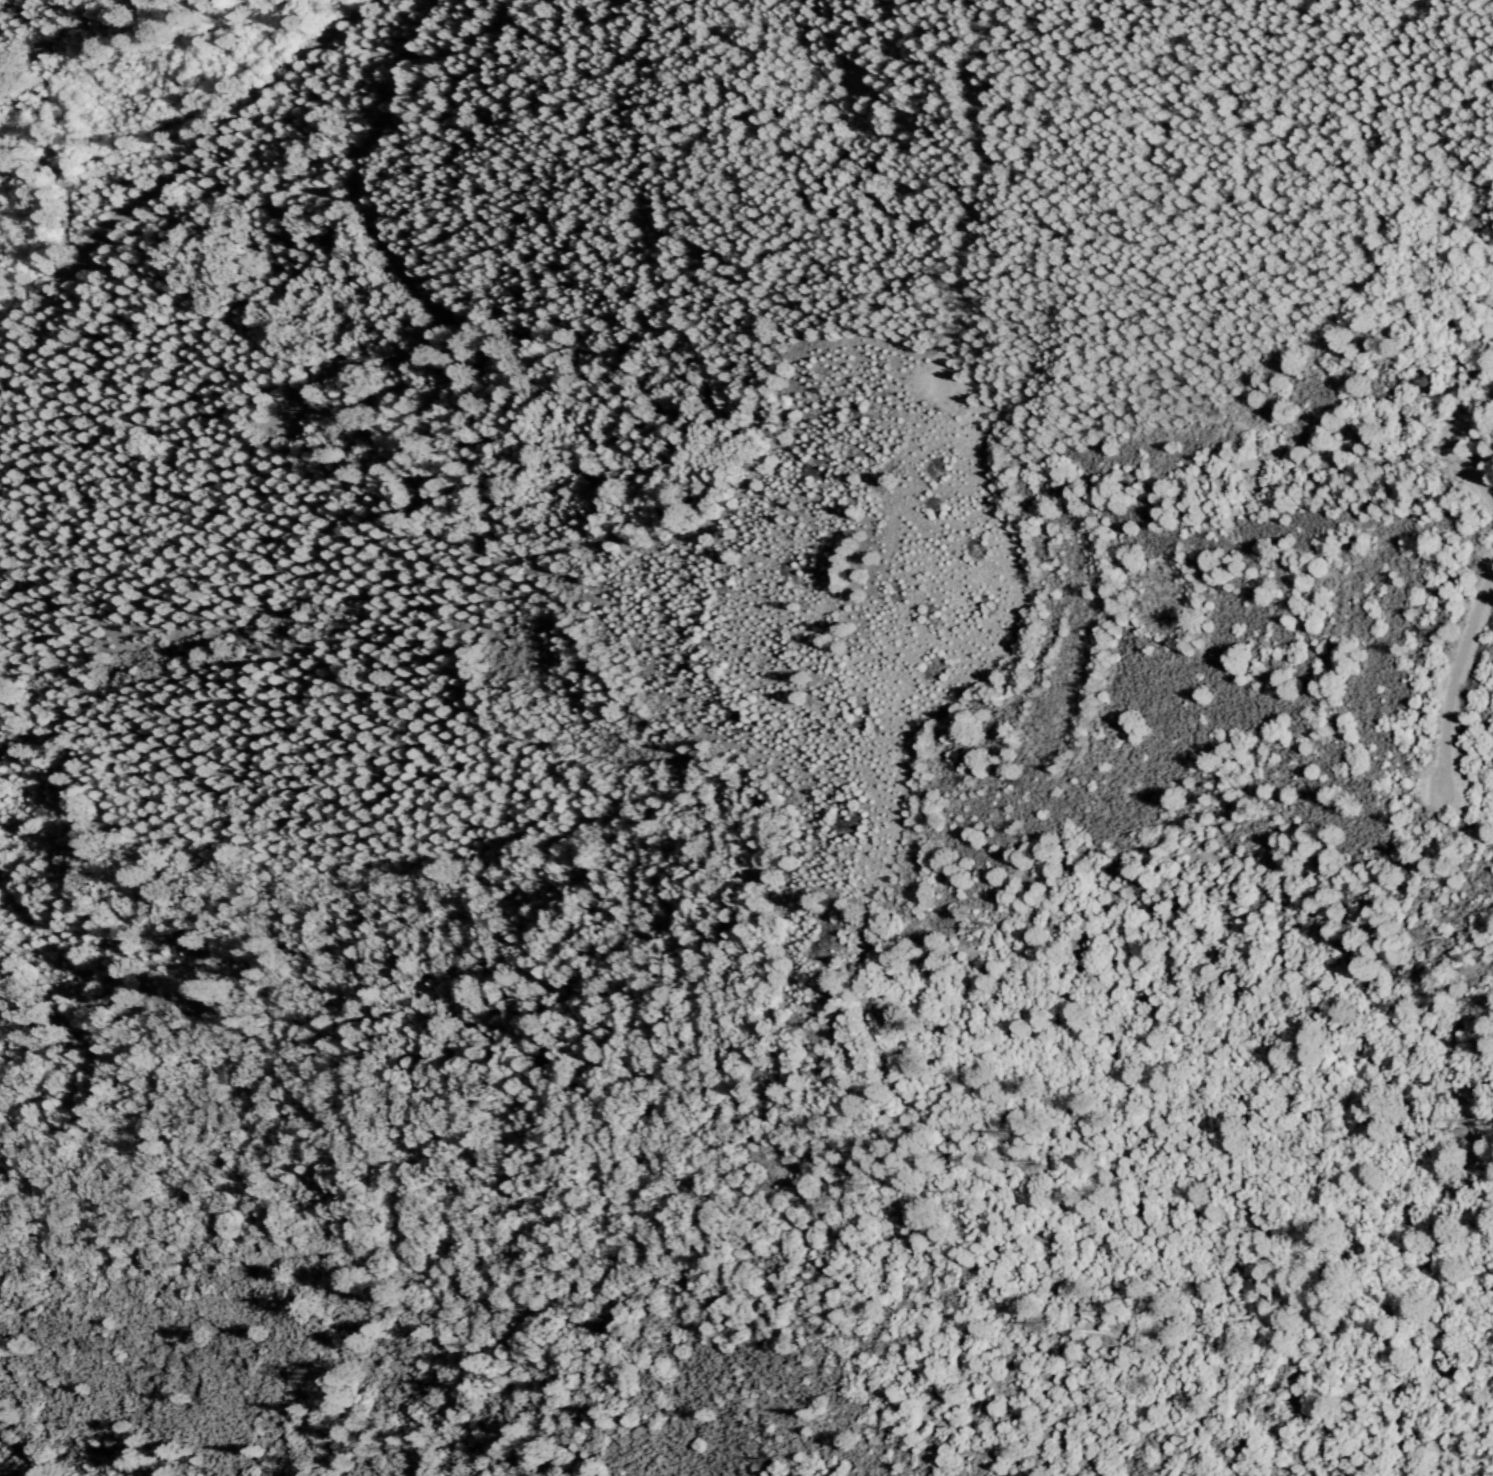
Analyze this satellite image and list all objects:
road: (172, 157)
road: (981, 191)

